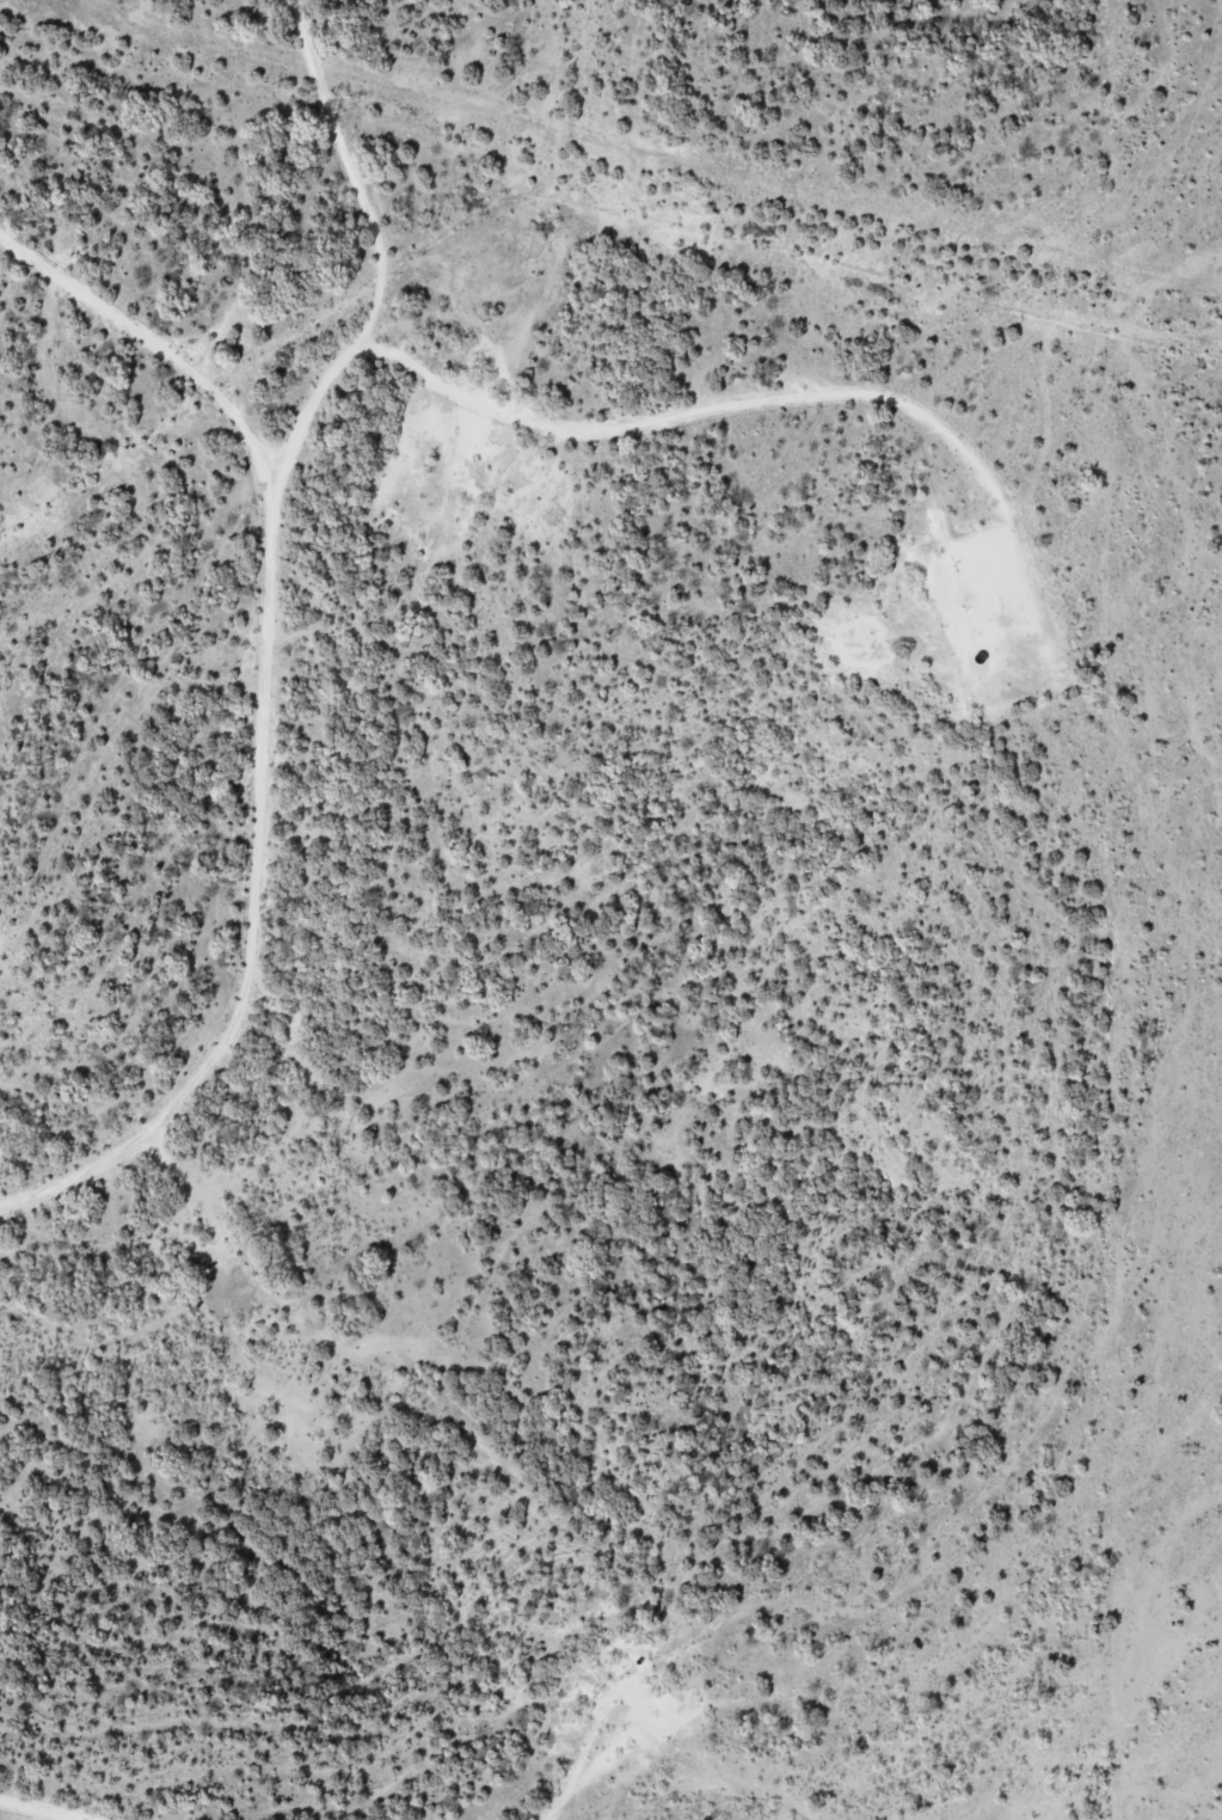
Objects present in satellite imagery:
road: (133, 336)
road: (240, 607)
road: (528, 1798)
road: (30, 1812)

